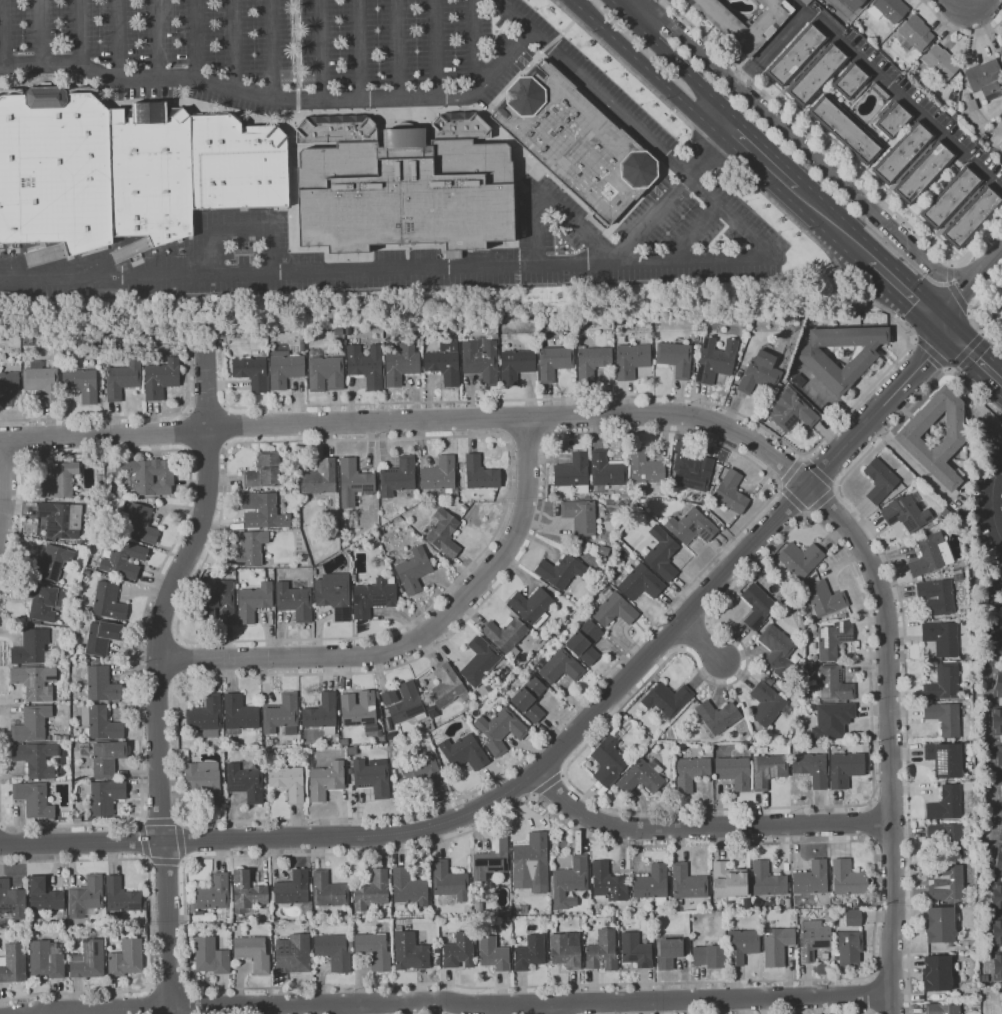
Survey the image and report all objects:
building: (806, 1)
building: (853, 3)
road: (659, 9)
building: (889, 9)
road: (969, 13)
road: (958, 32)
building: (915, 33)
road: (77, 34)
road: (40, 35)
road: (1, 36)
road: (117, 40)
road: (156, 40)
building: (748, 41)
road: (194, 42)
road: (777, 42)
road: (295, 45)
road: (231, 46)
road: (474, 48)
road: (397, 49)
road: (435, 49)
road: (274, 50)
road: (354, 50)
road: (318, 51)
building: (1001, 52)
road: (672, 54)
building: (796, 54)
building: (940, 62)
building: (807, 63)
road: (641, 65)
building: (817, 73)
building: (986, 79)
building: (851, 81)
road: (593, 85)
parking lot: (377, 87)
building: (880, 91)
road: (278, 100)
road: (297, 100)
building: (970, 103)
road: (908, 104)
parking lot: (922, 108)
building: (951, 110)
building: (893, 119)
building: (846, 129)
building: (575, 141)
road: (710, 148)
building: (1001, 149)
road: (760, 151)
building: (903, 152)
road: (809, 153)
building: (997, 153)
road: (834, 156)
building: (216, 161)
road: (292, 161)
building: (914, 162)
building: (265, 166)
building: (55, 169)
building: (151, 172)
building: (924, 172)
building: (403, 185)
building: (951, 197)
road: (549, 203)
building: (961, 208)
road: (290, 215)
building: (972, 216)
road: (650, 218)
road: (276, 221)
road: (834, 221)
road: (243, 232)
road: (698, 233)
road: (363, 258)
road: (752, 262)
road: (305, 270)
road: (970, 290)
road: (954, 291)
road: (910, 293)
road: (971, 312)
building: (1001, 314)
traffic signals: (951, 333)
building: (495, 335)
building: (302, 345)
road: (966, 350)
road: (932, 354)
road: (976, 355)
building: (675, 357)
building: (481, 360)
building: (631, 360)
building: (716, 360)
building: (554, 362)
building: (592, 362)
building: (445, 363)
building: (401, 364)
building: (366, 365)
building: (516, 365)
building: (821, 365)
building: (285, 370)
building: (252, 372)
building: (325, 372)
building: (760, 373)
building: (122, 378)
building: (161, 378)
building: (41, 379)
building: (798, 380)
building: (82, 384)
building: (10, 388)
road: (207, 408)
building: (790, 410)
road: (126, 416)
road: (414, 422)
road: (224, 425)
road: (189, 430)
road: (494, 435)
road: (526, 437)
road: (19, 438)
road: (707, 438)
building: (909, 440)
road: (207, 447)
road: (805, 456)
road: (12, 457)
building: (458, 465)
building: (645, 468)
building: (264, 471)
building: (606, 471)
building: (693, 471)
building: (573, 472)
road: (790, 472)
building: (480, 473)
road: (820, 473)
building: (151, 476)
building: (440, 476)
building: (320, 477)
building: (399, 477)
road: (4, 480)
building: (59, 480)
building: (100, 480)
building: (880, 480)
building: (353, 482)
building: (731, 492)
building: (587, 497)
road: (794, 501)
road: (992, 501)
road: (822, 502)
building: (263, 511)
building: (906, 513)
building: (581, 516)
building: (61, 519)
building: (136, 523)
building: (343, 524)
building: (332, 526)
building: (691, 527)
building: (444, 533)
building: (145, 544)
building: (249, 548)
building: (604, 550)
road: (170, 551)
building: (662, 553)
building: (930, 554)
building: (599, 556)
building: (124, 559)
building: (801, 559)
building: (304, 561)
building: (50, 563)
building: (414, 570)
building: (87, 571)
building: (560, 571)
road: (856, 575)
building: (641, 583)
building: (334, 594)
building: (937, 596)
building: (373, 597)
building: (824, 598)
building: (42, 599)
building: (109, 601)
building: (254, 601)
building: (295, 601)
building: (219, 602)
building: (532, 606)
building: (758, 606)
building: (614, 608)
building: (844, 615)
road: (904, 624)
building: (101, 635)
building: (506, 636)
building: (942, 637)
road: (419, 638)
building: (833, 639)
building: (539, 640)
road: (702, 641)
building: (585, 642)
building: (32, 648)
building: (777, 648)
building: (991, 657)
road: (177, 659)
building: (479, 660)
building: (561, 667)
road: (160, 679)
building: (769, 681)
building: (35, 682)
building: (944, 683)
building: (834, 684)
building: (998, 684)
building: (102, 685)
building: (447, 687)
building: (530, 699)
building: (667, 699)
building: (404, 702)
building: (767, 704)
building: (359, 710)
building: (240, 713)
building: (282, 714)
building: (322, 714)
building: (206, 716)
building: (717, 717)
building: (945, 718)
building: (832, 720)
building: (997, 720)
building: (100, 723)
building: (32, 724)
building: (501, 729)
building: (394, 735)
road: (890, 737)
building: (344, 741)
building: (270, 742)
building: (971, 742)
building: (351, 750)
building: (464, 752)
road: (555, 754)
building: (999, 756)
building: (107, 757)
building: (609, 758)
building: (36, 759)
building: (947, 759)
building: (812, 768)
building: (845, 769)
building: (424, 770)
building: (769, 770)
building: (734, 771)
building: (691, 772)
building: (642, 776)
building: (372, 777)
building: (326, 780)
building: (204, 781)
building: (288, 781)
building: (245, 782)
building: (953, 782)
road: (546, 784)
building: (671, 787)
building: (1001, 791)
building: (105, 796)
building: (35, 799)
building: (946, 804)
road: (161, 819)
road: (872, 821)
road: (2, 823)
road: (705, 829)
building: (1001, 830)
building: (947, 840)
road: (144, 841)
road: (179, 841)
building: (491, 859)
road: (166, 861)
building: (532, 862)
building: (998, 862)
building: (848, 878)
building: (767, 879)
building: (811, 879)
building: (728, 880)
building: (450, 881)
building: (570, 882)
building: (688, 882)
building: (608, 883)
building: (653, 884)
building: (948, 884)
building: (409, 887)
building: (293, 888)
building: (328, 890)
building: (372, 891)
building: (213, 893)
building: (247, 893)
building: (44, 895)
building: (122, 896)
building: (86, 897)
building: (997, 897)
building: (12, 900)
building: (520, 910)
building: (853, 917)
building: (141, 920)
building: (940, 925)
road: (150, 927)
building: (997, 931)
building: (813, 939)
building: (742, 945)
building: (777, 945)
building: (848, 948)
building: (566, 949)
building: (373, 950)
building: (459, 950)
building: (636, 950)
building: (335, 951)
building: (409, 951)
building: (602, 951)
building: (670, 952)
building: (253, 953)
building: (294, 953)
building: (493, 953)
building: (530, 953)
road: (873, 955)
building: (211, 956)
building: (709, 956)
building: (126, 958)
building: (46, 959)
building: (89, 960)
building: (14, 963)
building: (997, 966)
building: (937, 973)
road: (170, 988)
road: (871, 995)
road: (186, 1000)
road: (152, 1001)
road: (625, 1002)
road: (265, 1005)
road: (359, 1008)
building: (942, 1008)
road: (99, 1009)
road: (549, 1009)
road: (846, 1013)

